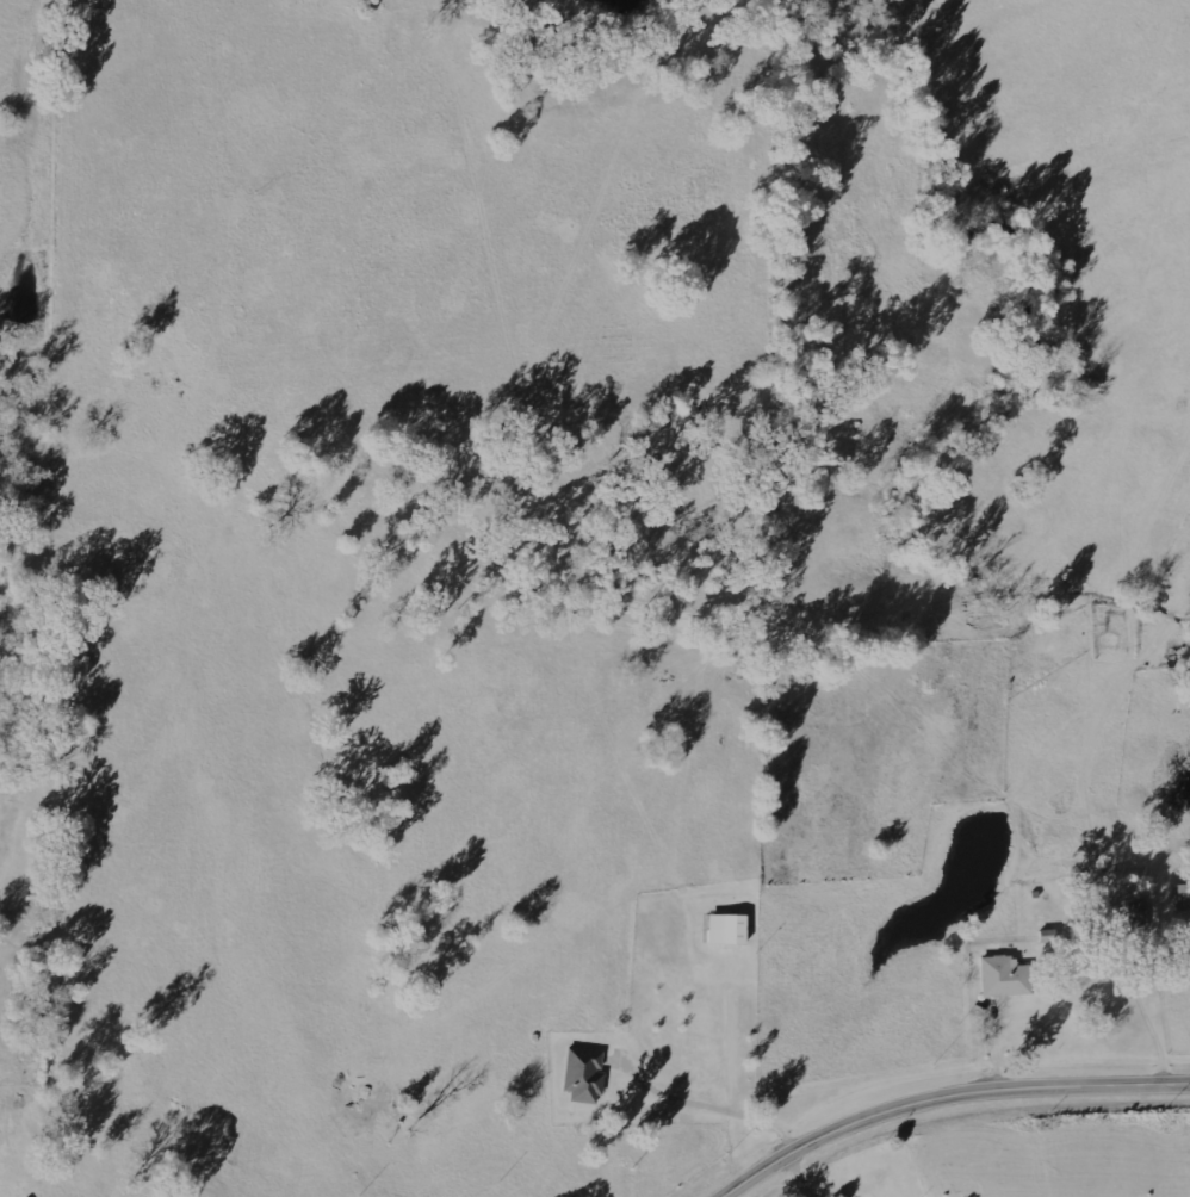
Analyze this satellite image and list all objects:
building: (725, 929)
building: (1003, 976)
building: (584, 1080)
road: (944, 1097)

